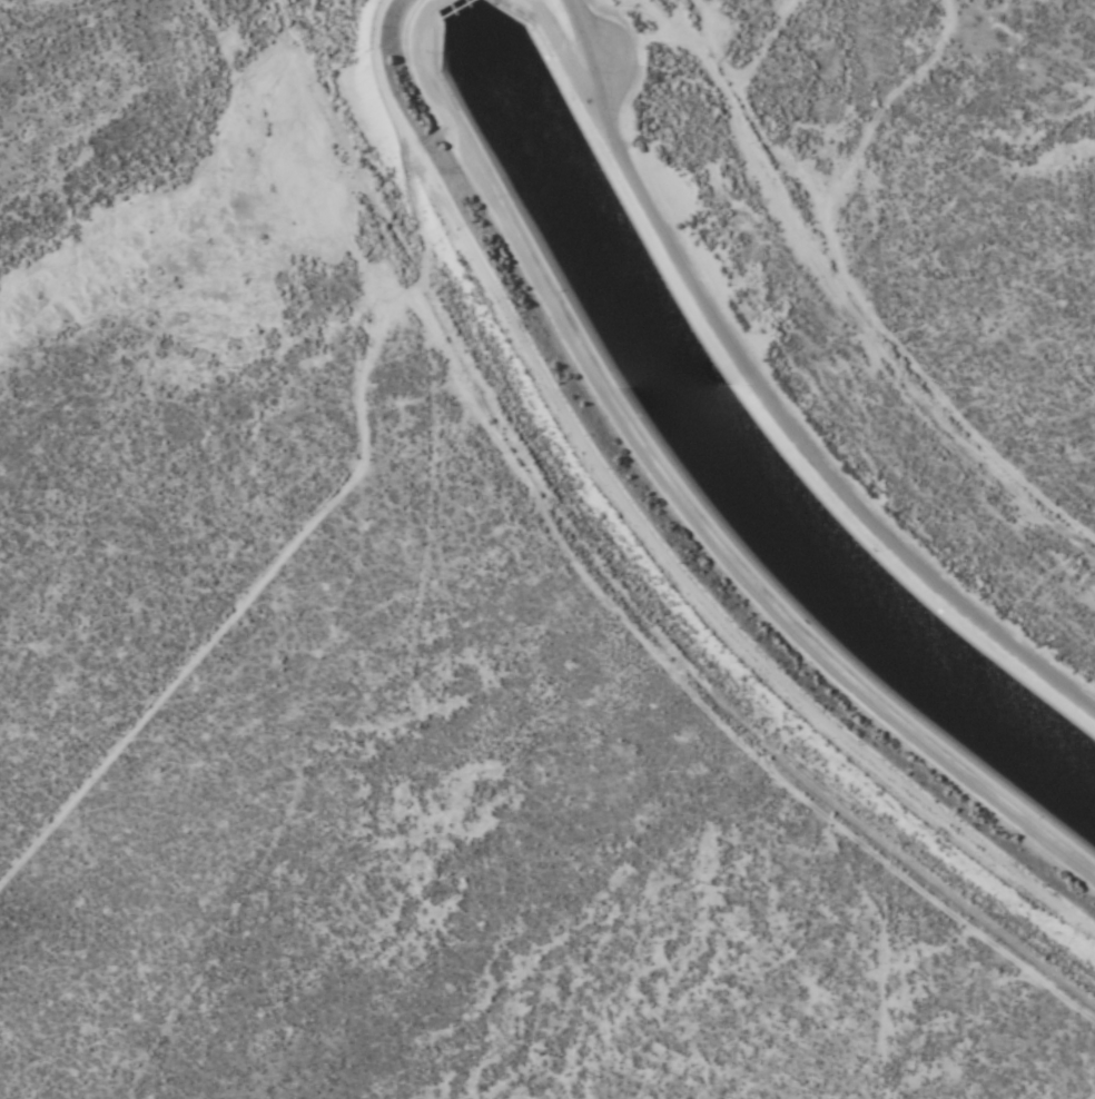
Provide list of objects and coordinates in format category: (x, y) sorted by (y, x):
crop: (960, 190)
road: (921, 273)
road: (771, 393)
road: (712, 590)
road: (900, 978)

